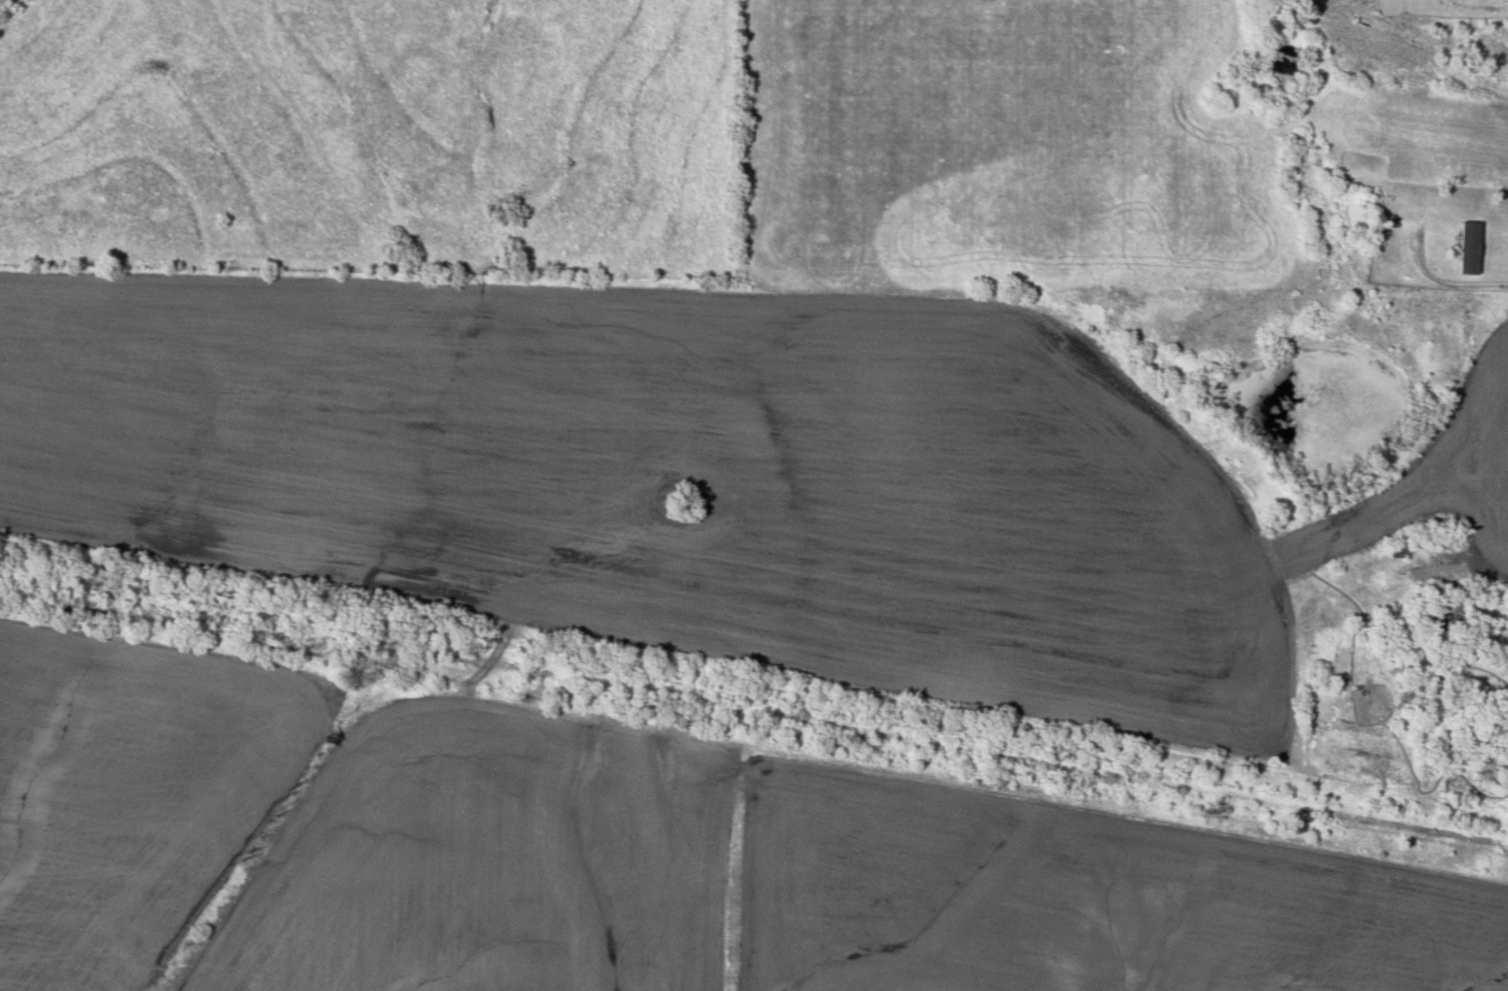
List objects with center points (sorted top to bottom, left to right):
building: (1470, 249)
road: (1453, 288)
crop: (670, 478)
crop: (1440, 485)
building: (1450, 614)
crop: (129, 791)
crop: (488, 863)
crop: (1077, 898)

